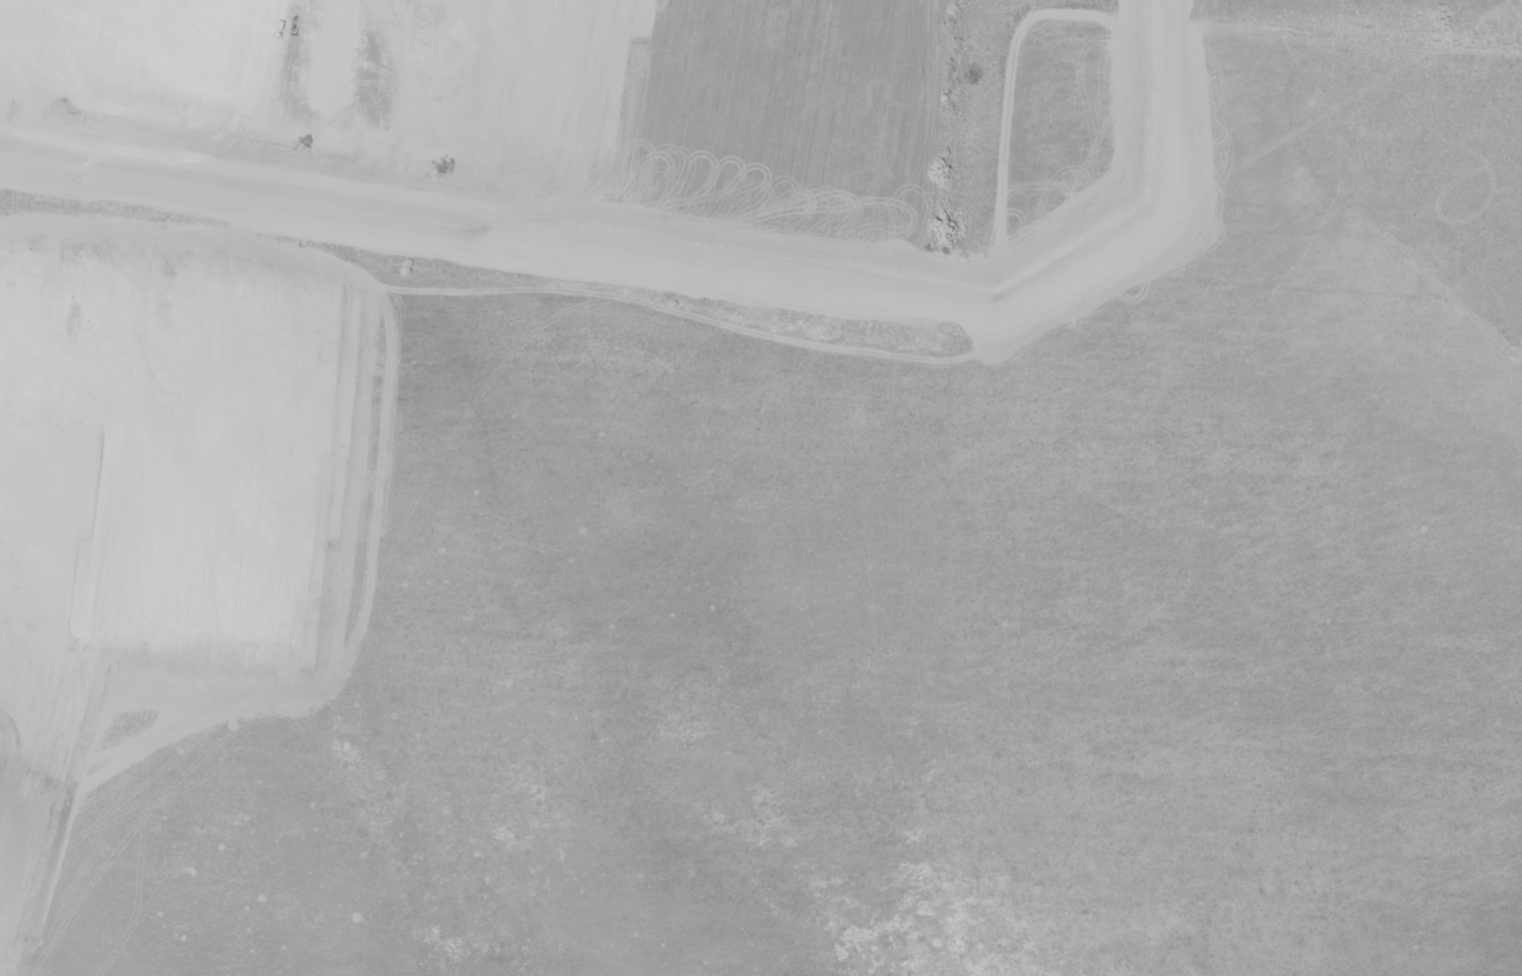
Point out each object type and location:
road: (966, 66)
road: (140, 153)

